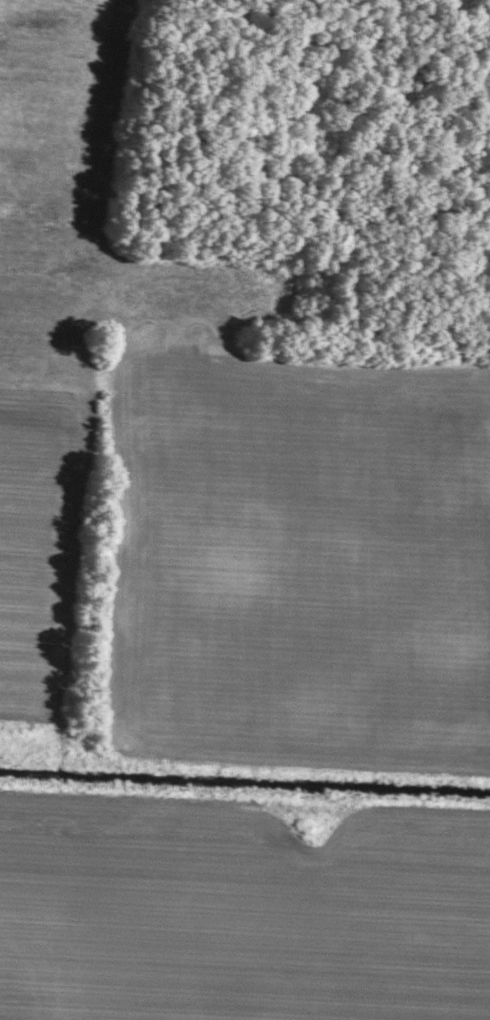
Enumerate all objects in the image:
road: (244, 805)

